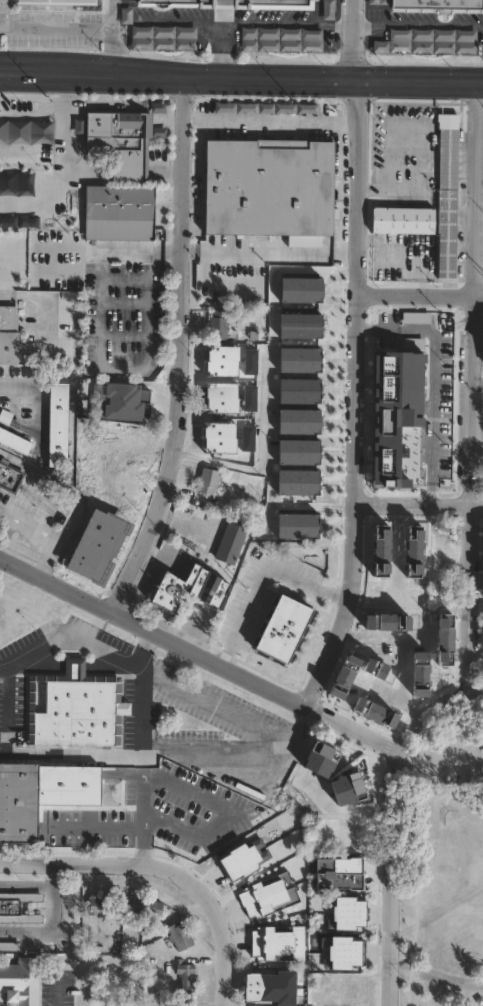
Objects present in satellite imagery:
building: (52, 1)
building: (229, 2)
building: (435, 4)
building: (328, 9)
road: (178, 20)
road: (262, 21)
road: (421, 25)
road: (70, 30)
building: (162, 38)
road: (360, 39)
building: (280, 40)
building: (427, 41)
road: (111, 53)
road: (34, 74)
road: (275, 77)
road: (274, 120)
building: (26, 132)
building: (117, 139)
road: (67, 164)
building: (449, 177)
building: (270, 187)
building: (24, 203)
building: (118, 211)
building: (404, 220)
building: (17, 245)
road: (110, 249)
building: (220, 282)
road: (420, 296)
building: (220, 324)
building: (10, 335)
building: (395, 338)
building: (447, 340)
road: (182, 350)
building: (303, 358)
building: (224, 360)
road: (121, 370)
building: (394, 376)
road: (433, 383)
road: (472, 384)
road: (477, 387)
road: (269, 388)
building: (302, 391)
building: (223, 398)
road: (358, 400)
building: (137, 402)
building: (392, 418)
building: (303, 419)
building: (56, 424)
building: (222, 437)
building: (132, 443)
building: (301, 450)
building: (420, 454)
road: (222, 464)
building: (392, 465)
building: (92, 468)
building: (9, 477)
building: (209, 481)
building: (300, 481)
road: (59, 486)
building: (124, 487)
road: (420, 504)
building: (297, 510)
building: (301, 524)
road: (28, 526)
building: (228, 543)
building: (400, 546)
road: (46, 557)
road: (259, 580)
building: (389, 581)
building: (168, 587)
building: (210, 589)
building: (388, 623)
road: (374, 643)
road: (141, 650)
building: (419, 665)
road: (145, 673)
road: (246, 683)
building: (361, 689)
road: (479, 693)
road: (393, 699)
building: (75, 707)
road: (3, 711)
road: (141, 715)
road: (166, 759)
building: (344, 792)
road: (470, 796)
building: (19, 802)
road: (141, 811)
road: (225, 821)
building: (352, 832)
road: (97, 834)
road: (418, 841)
building: (242, 860)
road: (106, 861)
building: (340, 873)
road: (391, 882)
road: (26, 885)
park: (441, 887)
building: (266, 896)
building: (103, 905)
building: (17, 907)
building: (144, 908)
building: (352, 912)
road: (51, 919)
building: (180, 936)
road: (230, 944)
building: (10, 945)
building: (276, 945)
building: (351, 953)
building: (186, 978)
building: (21, 981)
building: (264, 988)
building: (351, 992)
road: (53, 994)
building: (185, 1003)

